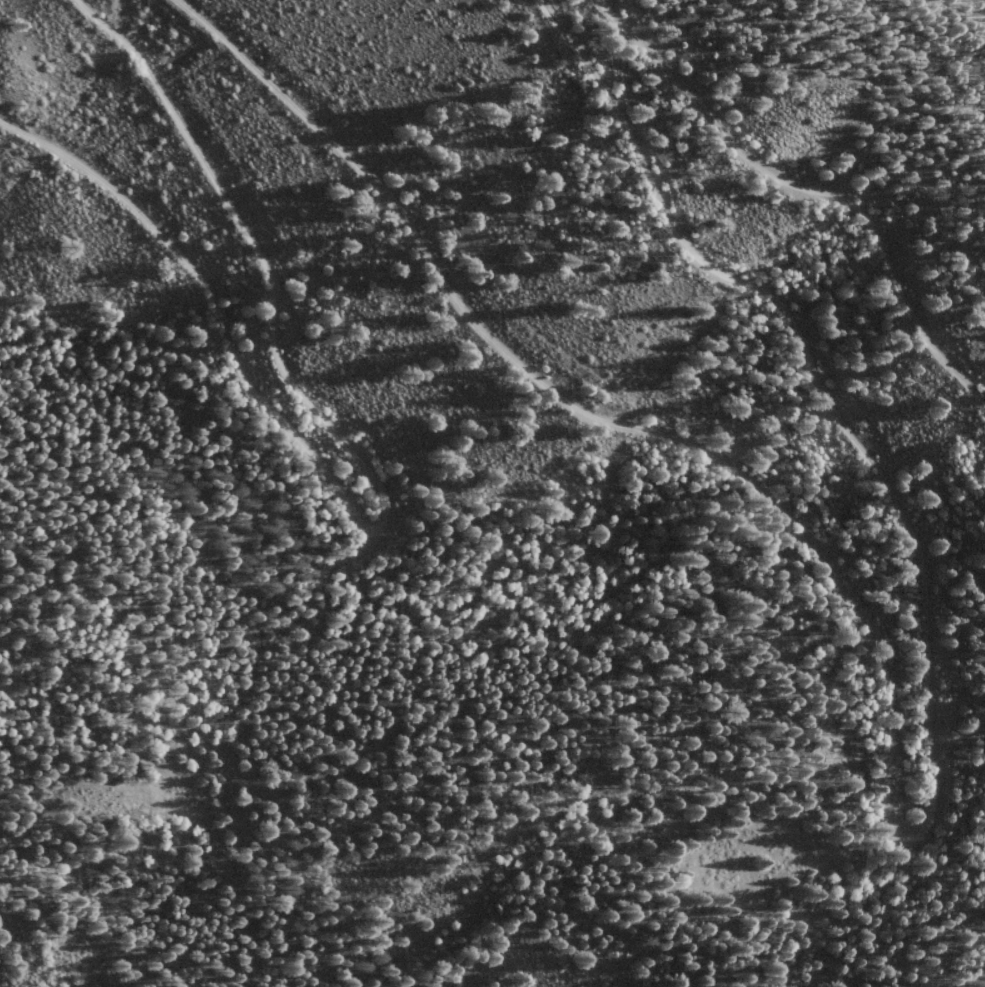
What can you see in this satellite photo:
road: (808, 186)
road: (385, 504)
road: (489, 617)
road: (892, 762)
road: (336, 880)

